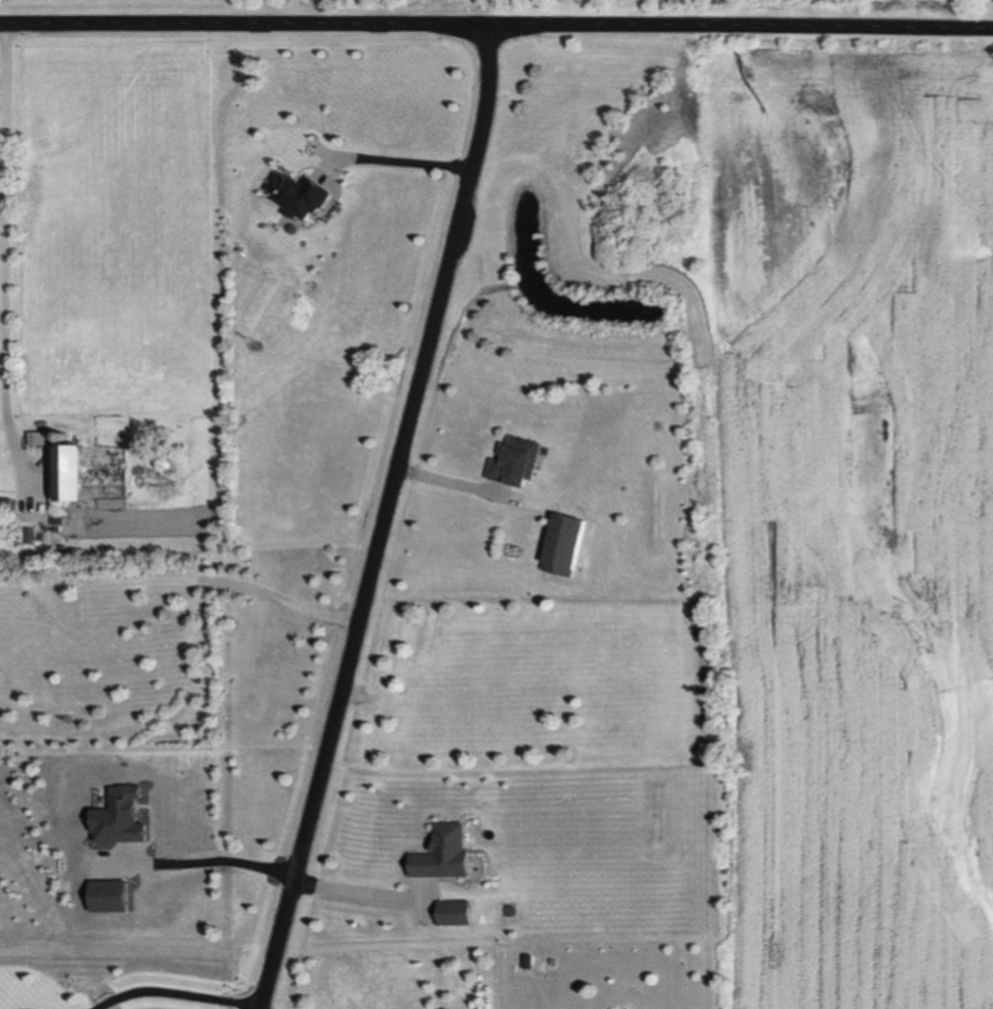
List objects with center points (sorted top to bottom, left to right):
road: (496, 30)
road: (399, 162)
road: (7, 235)
building: (519, 463)
building: (80, 473)
road: (452, 484)
building: (0, 487)
building: (8, 508)
road: (383, 521)
road: (285, 603)
road: (205, 864)
road: (355, 889)
road: (174, 992)

